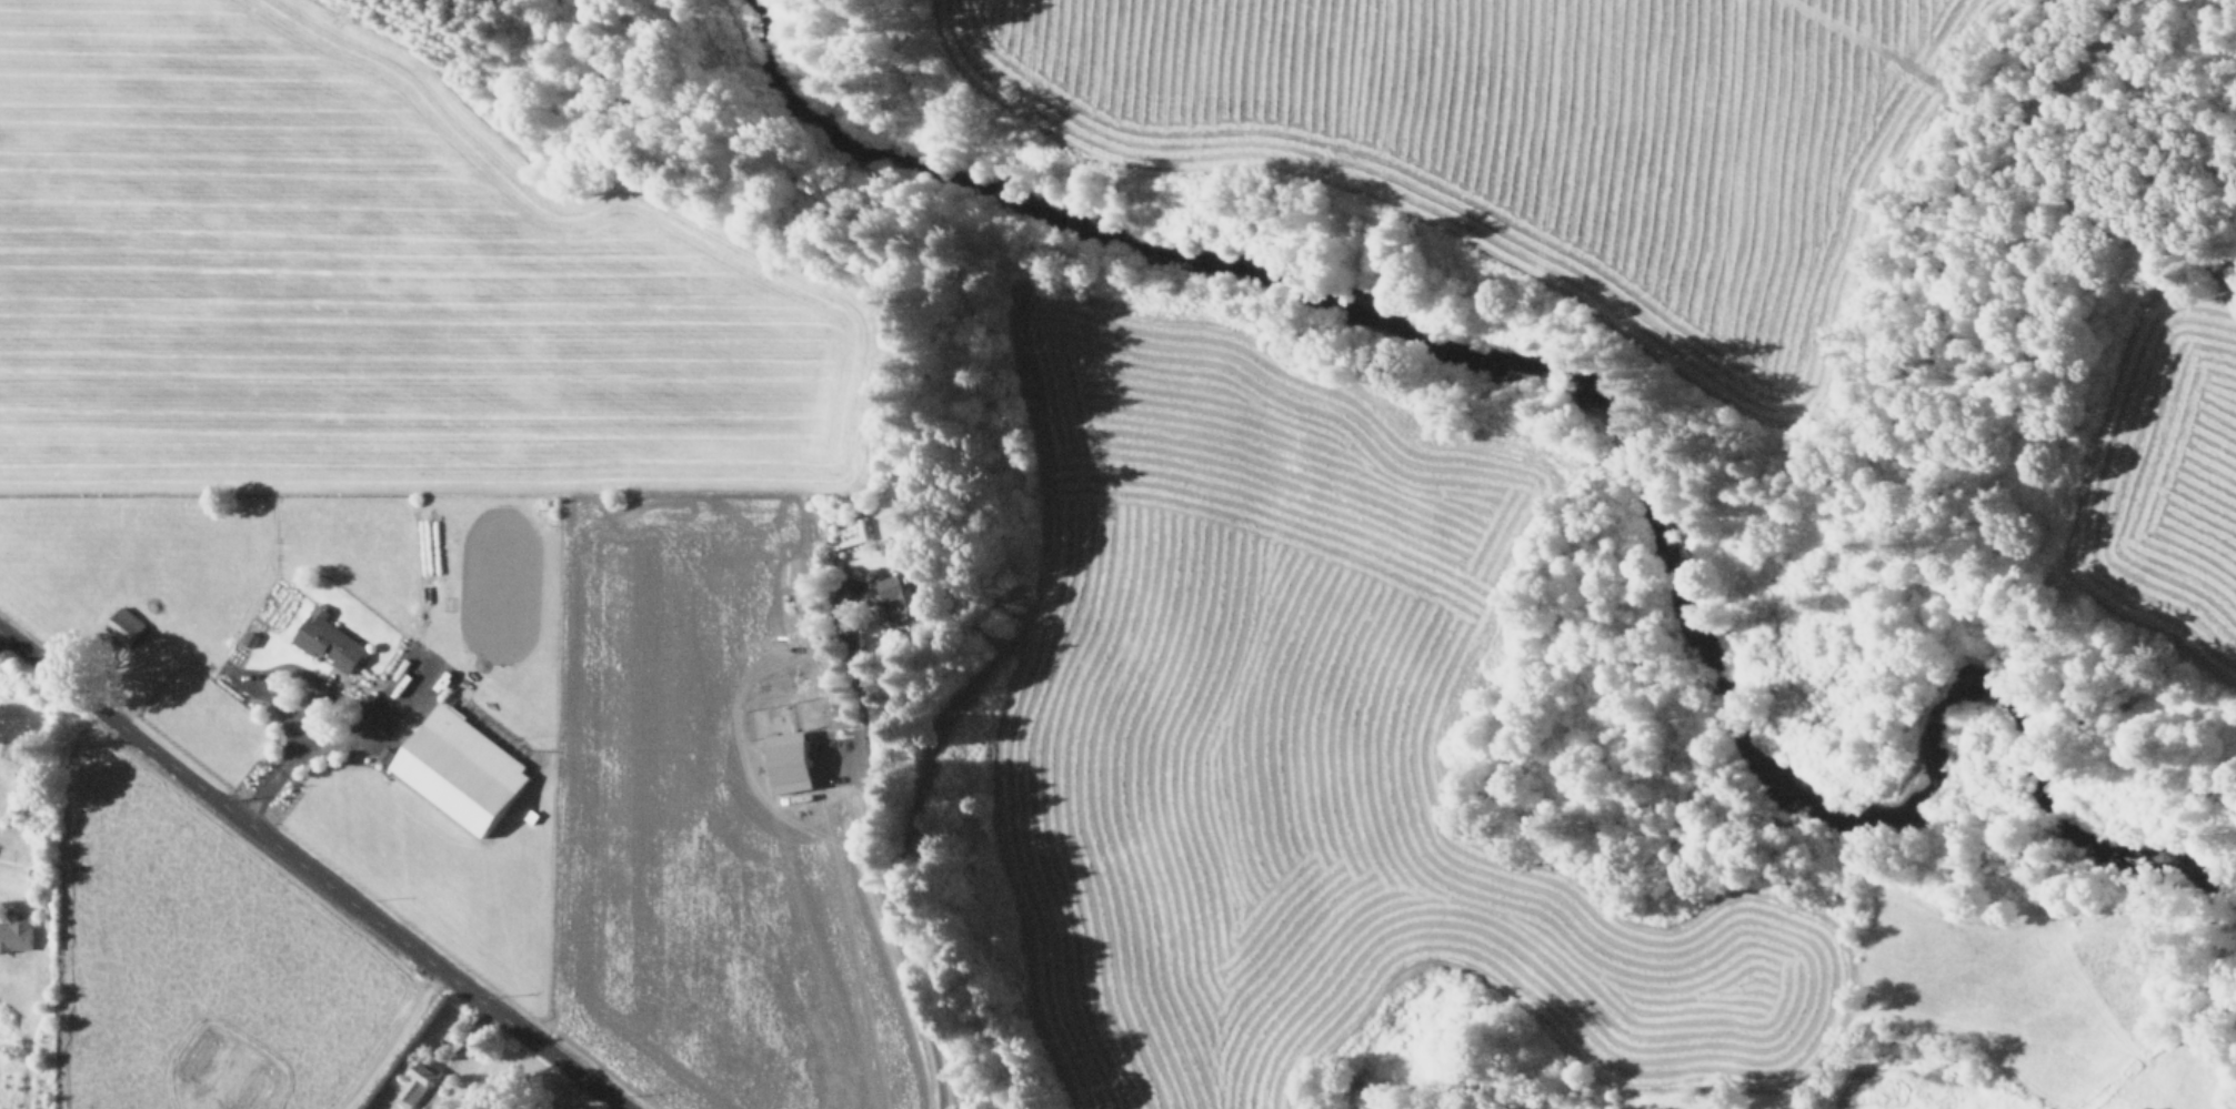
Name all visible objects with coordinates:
crop: (1518, 129)
river: (1566, 379)
road: (2107, 400)
crop: (2165, 488)
crop: (447, 517)
building: (904, 594)
building: (124, 626)
building: (328, 642)
road: (288, 755)
building: (795, 760)
building: (461, 770)
crop: (1387, 787)
road: (885, 865)
road: (311, 873)
building: (17, 930)
crop: (201, 959)
road: (397, 1041)
building: (199, 1056)
road: (453, 1057)
building: (415, 1086)
building: (257, 1090)

